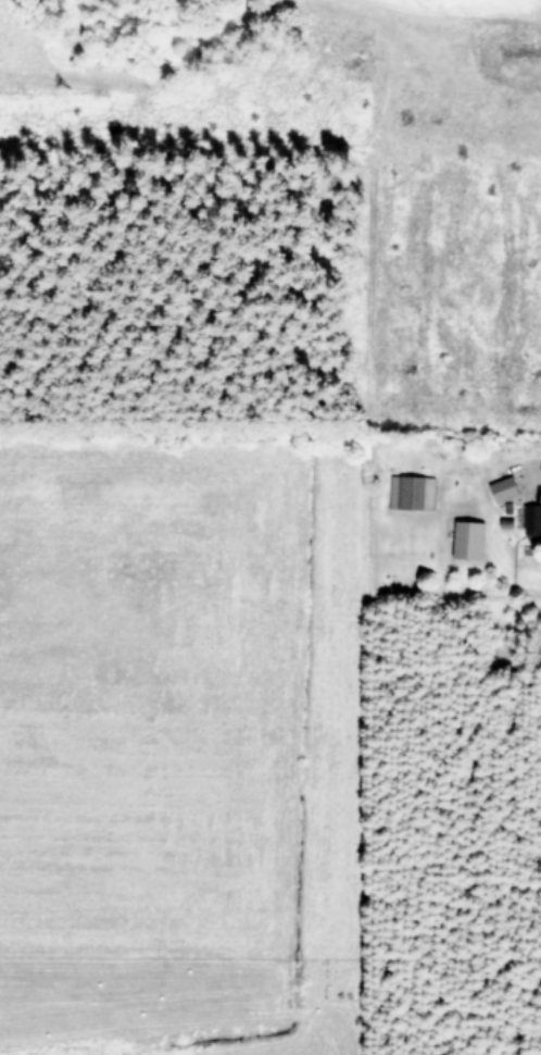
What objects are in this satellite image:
building: (506, 486)
building: (412, 491)
building: (533, 519)
building: (468, 537)

